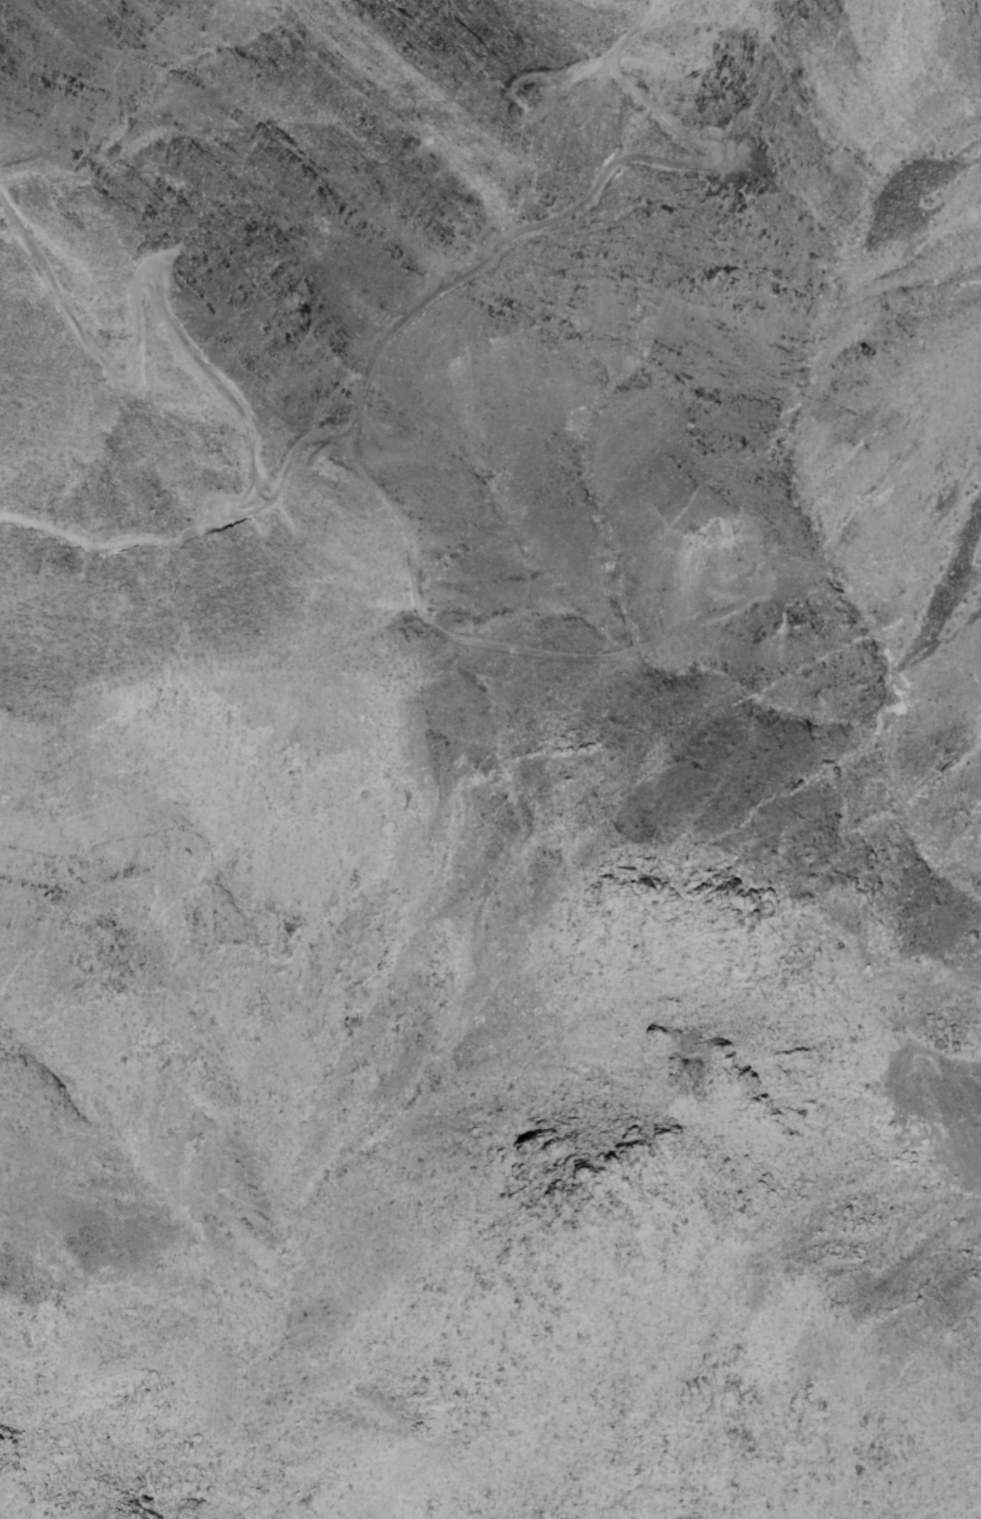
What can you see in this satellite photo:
road: (307, 441)

